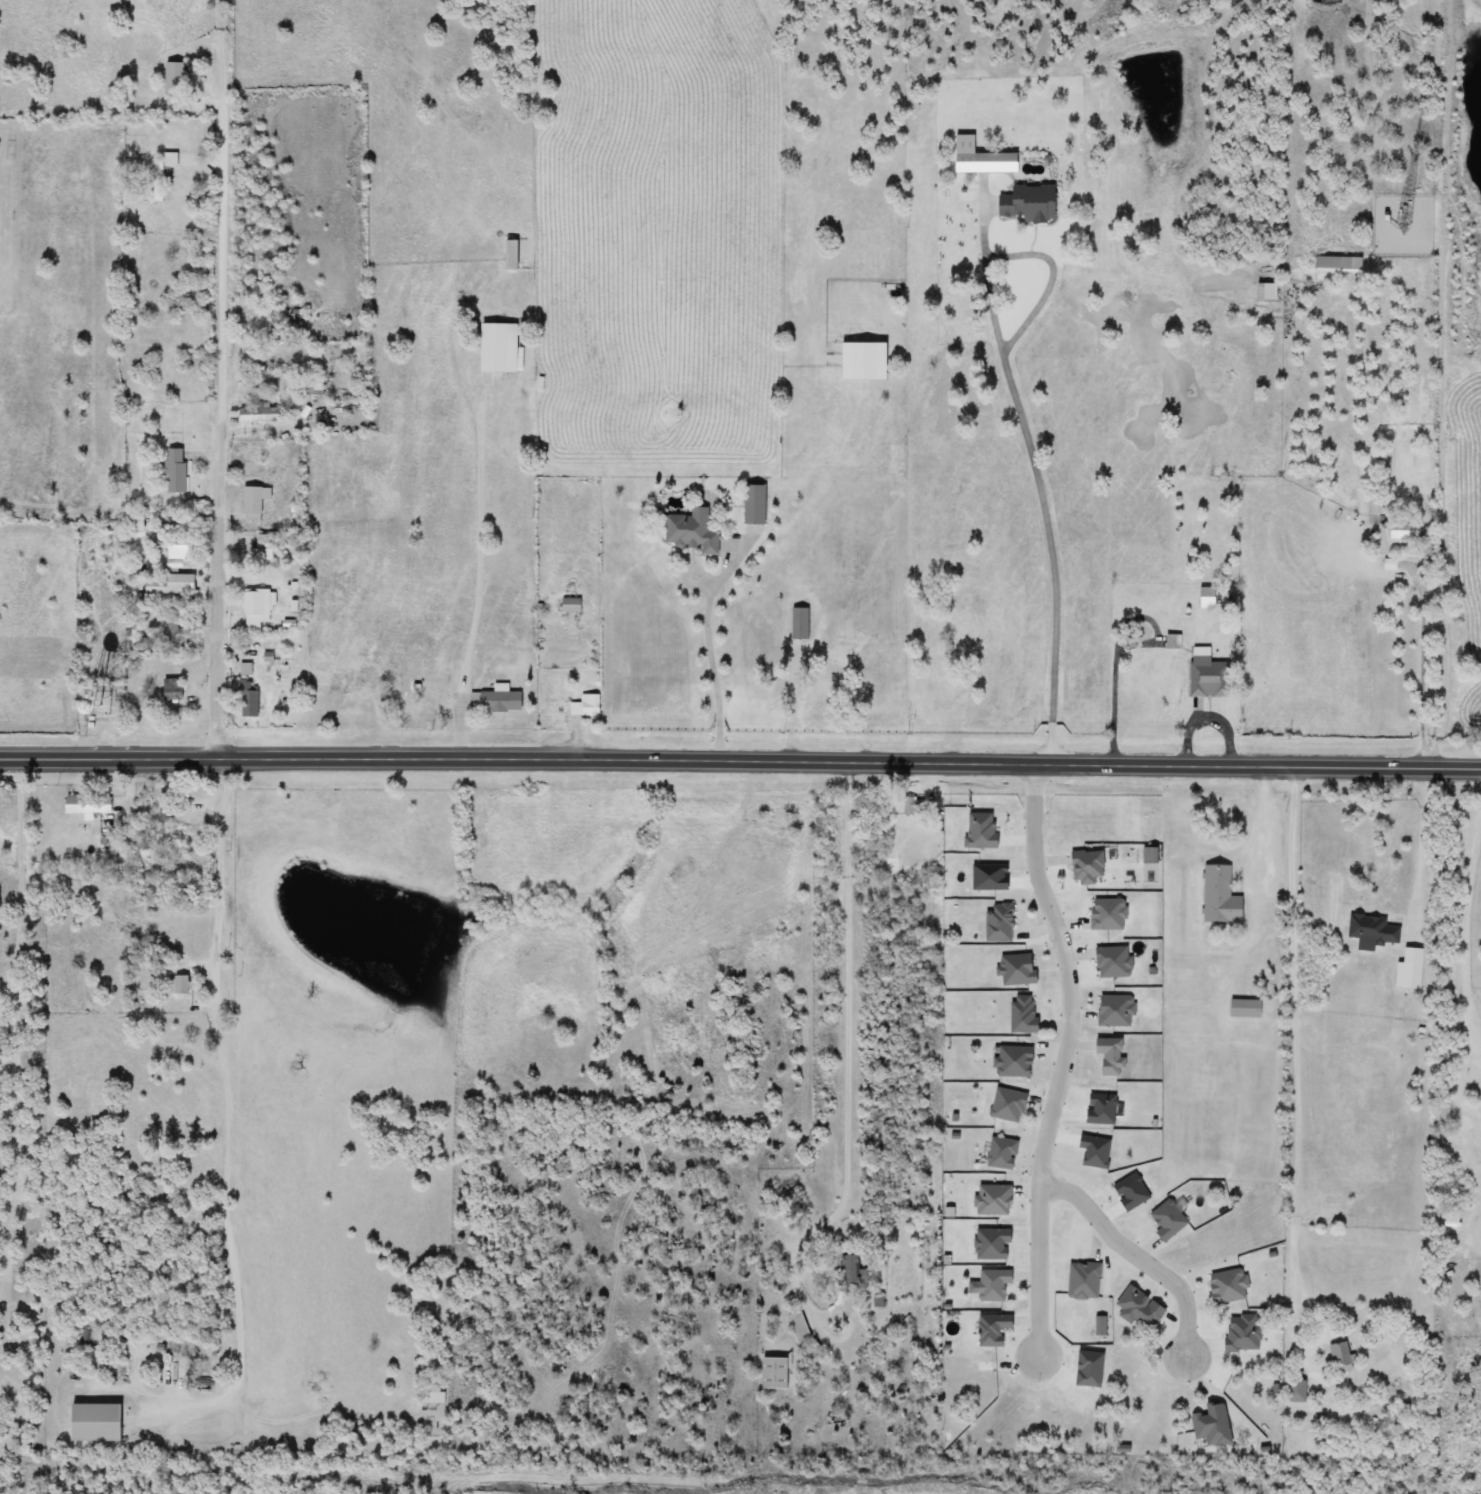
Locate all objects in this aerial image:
building: (172, 76)
building: (161, 176)
building: (1024, 204)
building: (507, 255)
building: (1264, 292)
building: (496, 348)
road: (223, 379)
building: (265, 381)
building: (310, 386)
building: (256, 414)
road: (1026, 428)
building: (892, 454)
building: (172, 470)
building: (252, 501)
building: (1375, 504)
building: (751, 505)
building: (132, 522)
road: (484, 523)
building: (689, 532)
building: (1402, 532)
building: (180, 546)
building: (1425, 547)
building: (172, 565)
building: (167, 588)
building: (1221, 600)
building: (569, 605)
building: (254, 606)
building: (798, 624)
building: (176, 633)
building: (1170, 641)
road: (1119, 647)
road: (713, 650)
road: (1425, 670)
building: (1203, 676)
building: (168, 690)
building: (63, 697)
building: (245, 699)
building: (494, 700)
building: (584, 706)
road: (740, 760)
building: (86, 804)
building: (911, 806)
road: (1267, 825)
road: (1423, 848)
building: (1084, 866)
building: (1218, 895)
building: (997, 922)
building: (1370, 929)
road: (1468, 929)
building: (177, 985)
building: (1020, 1014)
road: (1296, 1035)
building: (1107, 1055)
road: (1063, 1058)
road: (848, 1070)
building: (1439, 1111)
building: (999, 1154)
building: (1165, 1220)
road: (1136, 1256)
building: (845, 1268)
building: (992, 1283)
building: (798, 1327)
building: (990, 1329)
building: (1338, 1355)
building: (772, 1373)
building: (1293, 1391)
building: (94, 1422)

